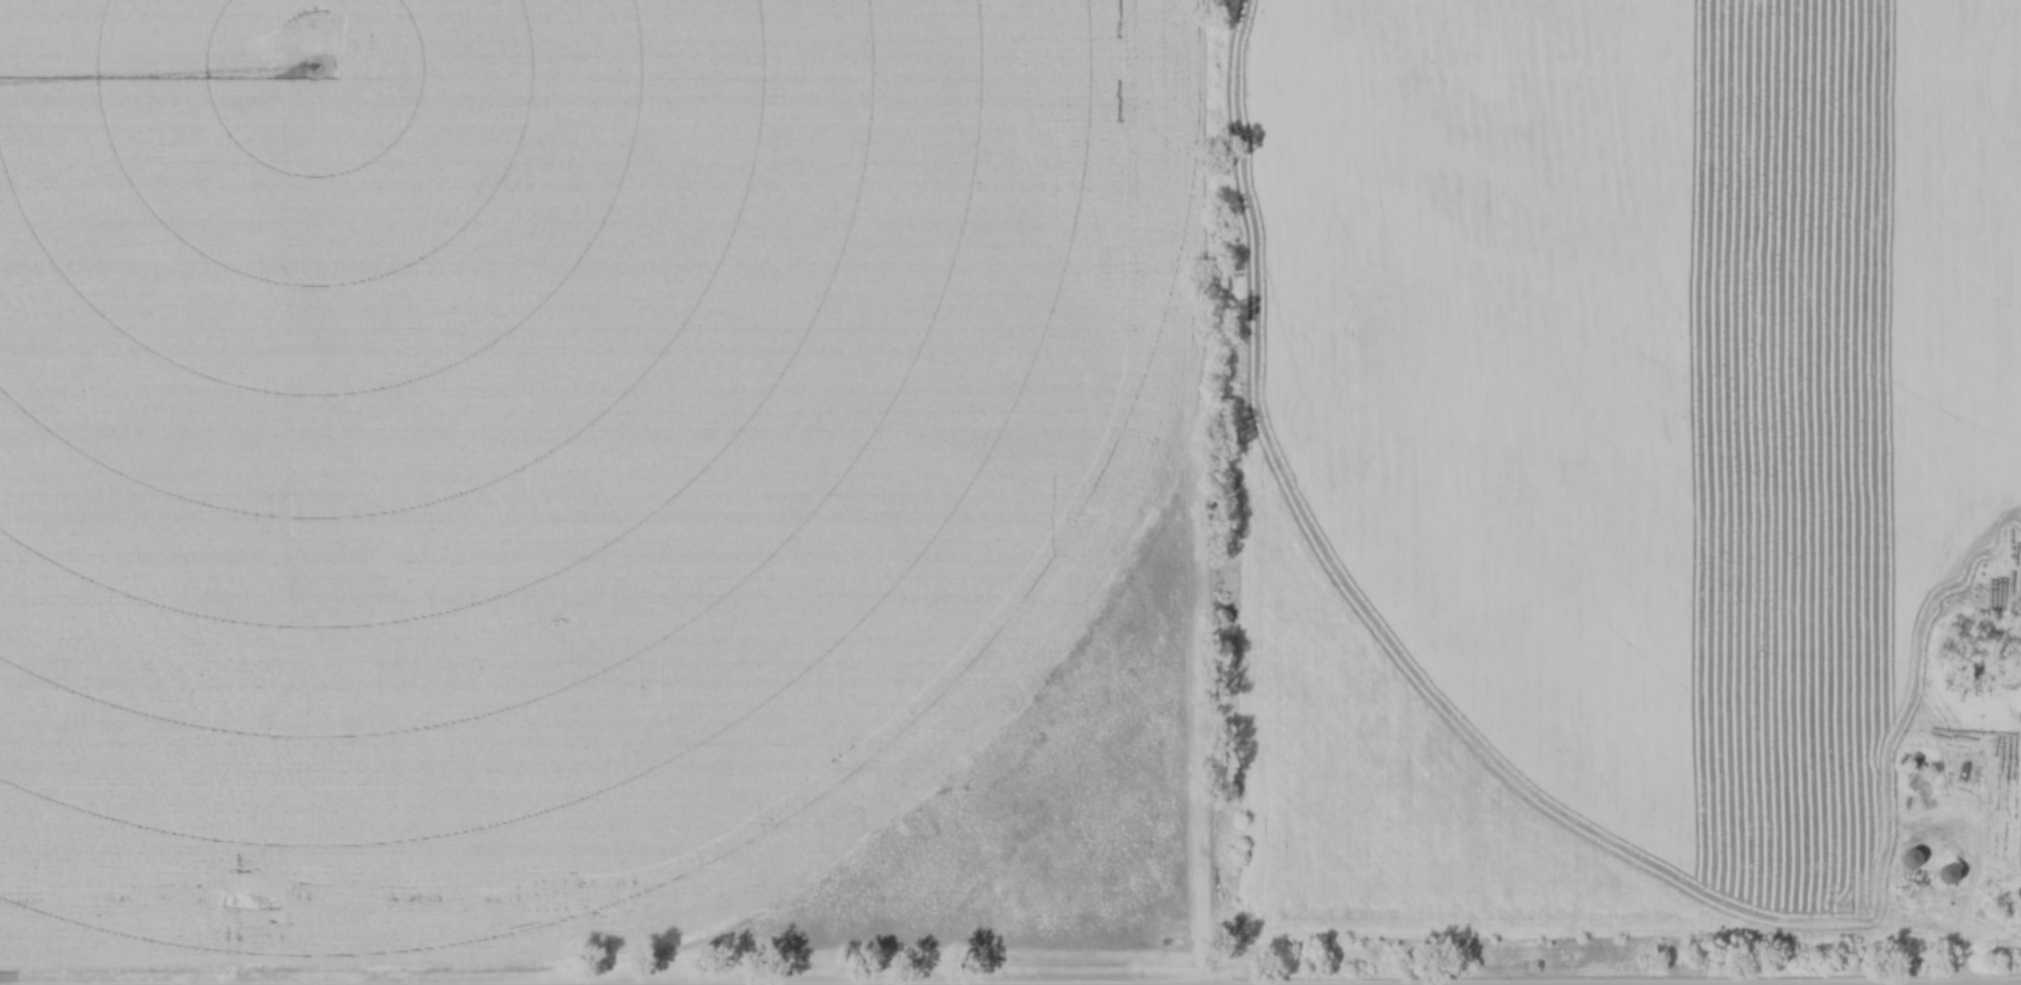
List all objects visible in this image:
building: (1921, 716)
building: (294, 800)
building: (1915, 857)
road: (313, 869)
building: (296, 902)

